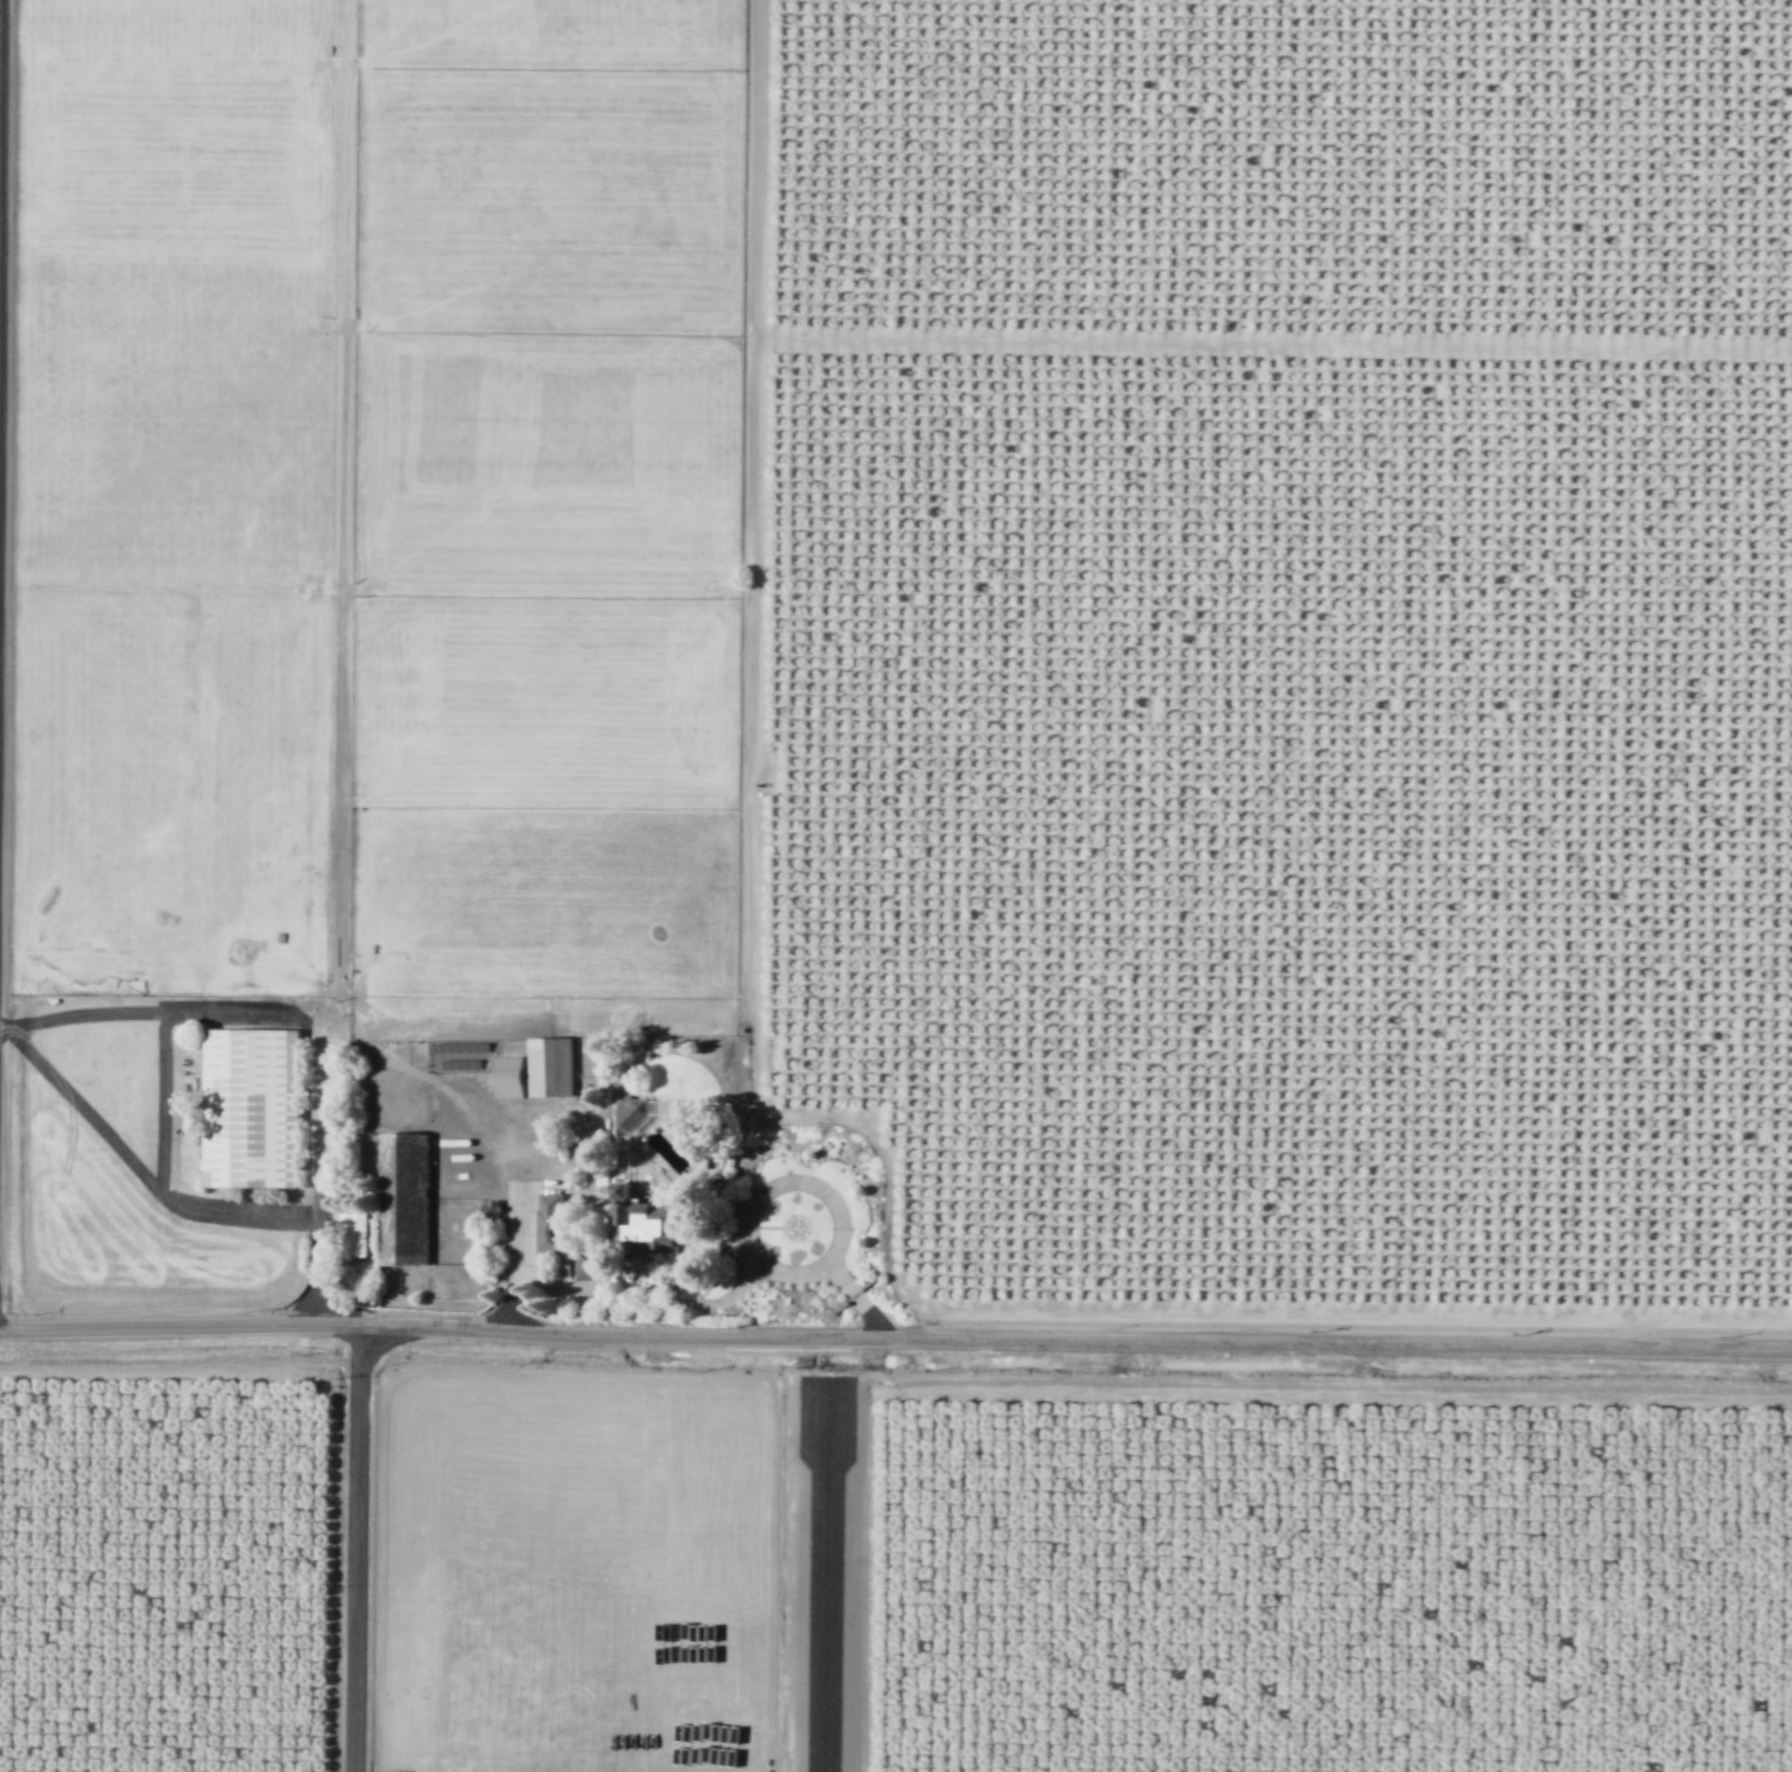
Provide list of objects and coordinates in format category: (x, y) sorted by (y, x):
road: (0, 26)
building: (252, 1106)
road: (789, 1116)
road: (323, 1185)
building: (649, 1218)
building: (551, 1221)
building: (360, 1230)
road: (837, 1258)
building: (587, 1264)
road: (619, 1291)
road: (858, 1301)
road: (895, 1337)
road: (179, 1365)
road: (1138, 1388)
road: (351, 1547)
airport: (822, 1569)
airport runway: (825, 1585)

